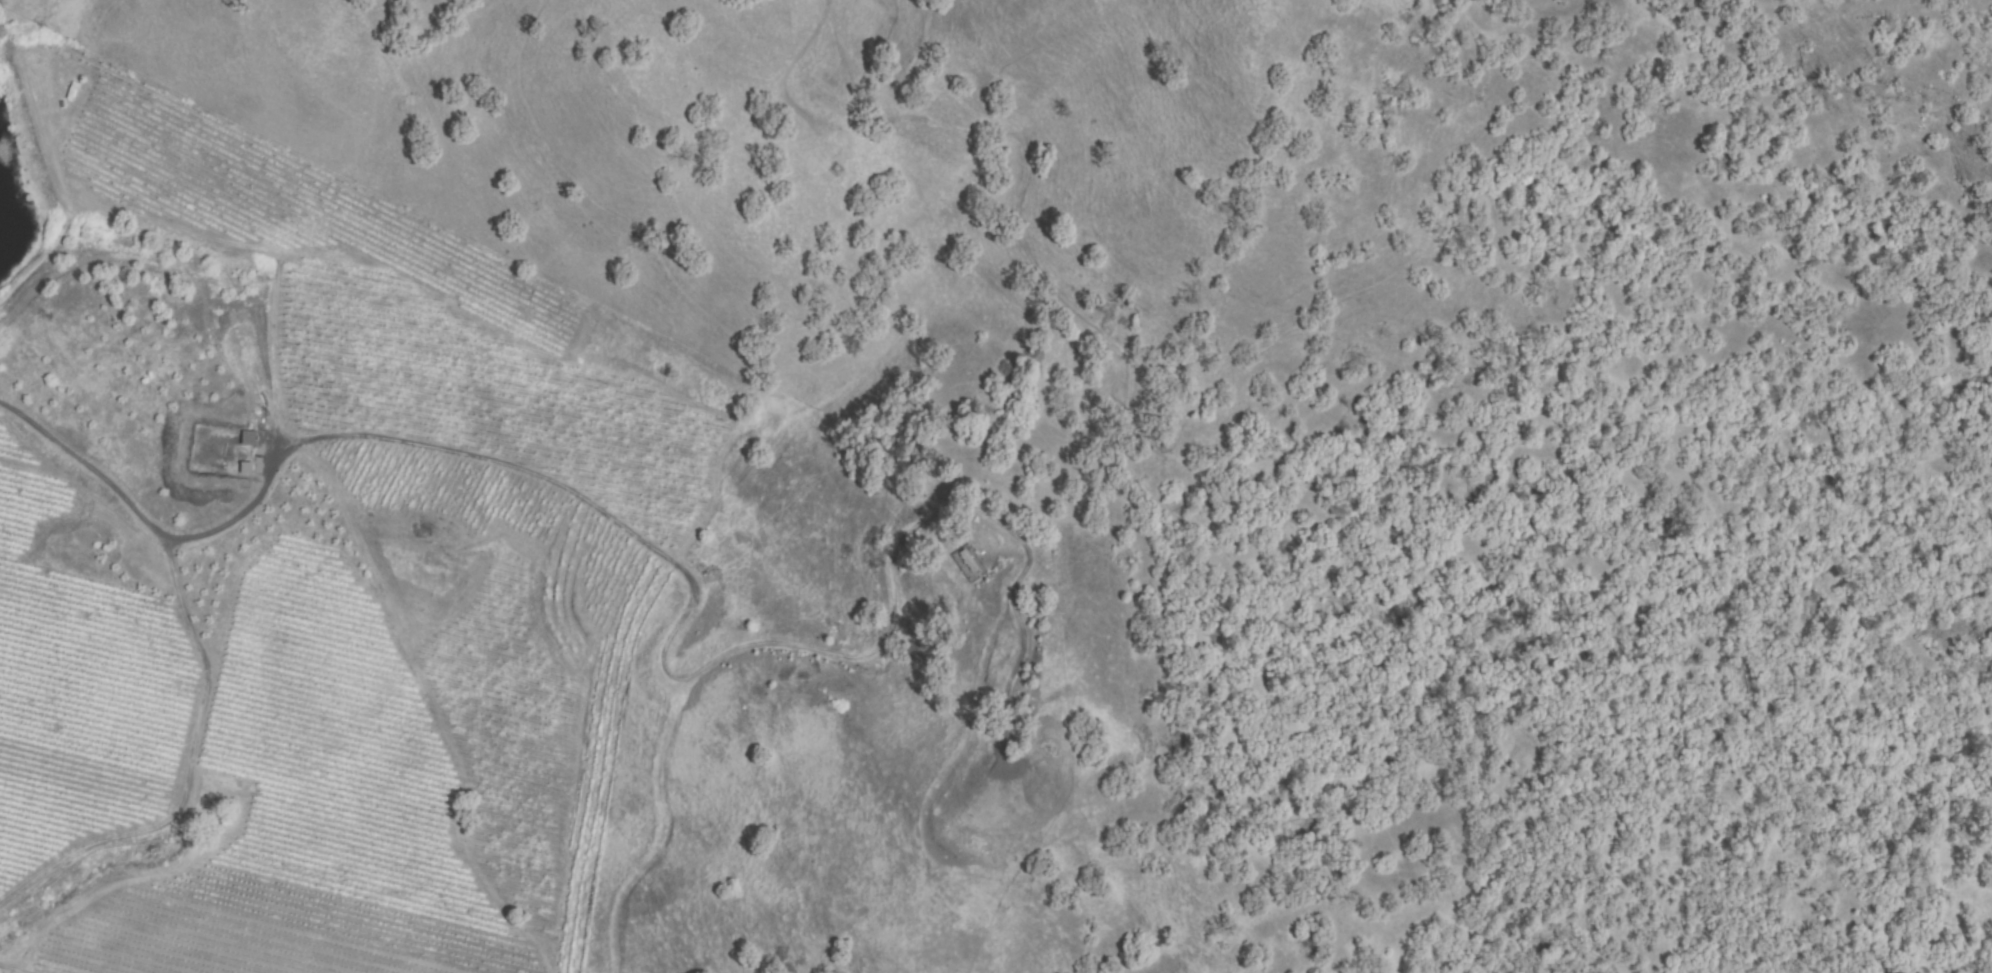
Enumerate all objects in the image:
building: (969, 560)

